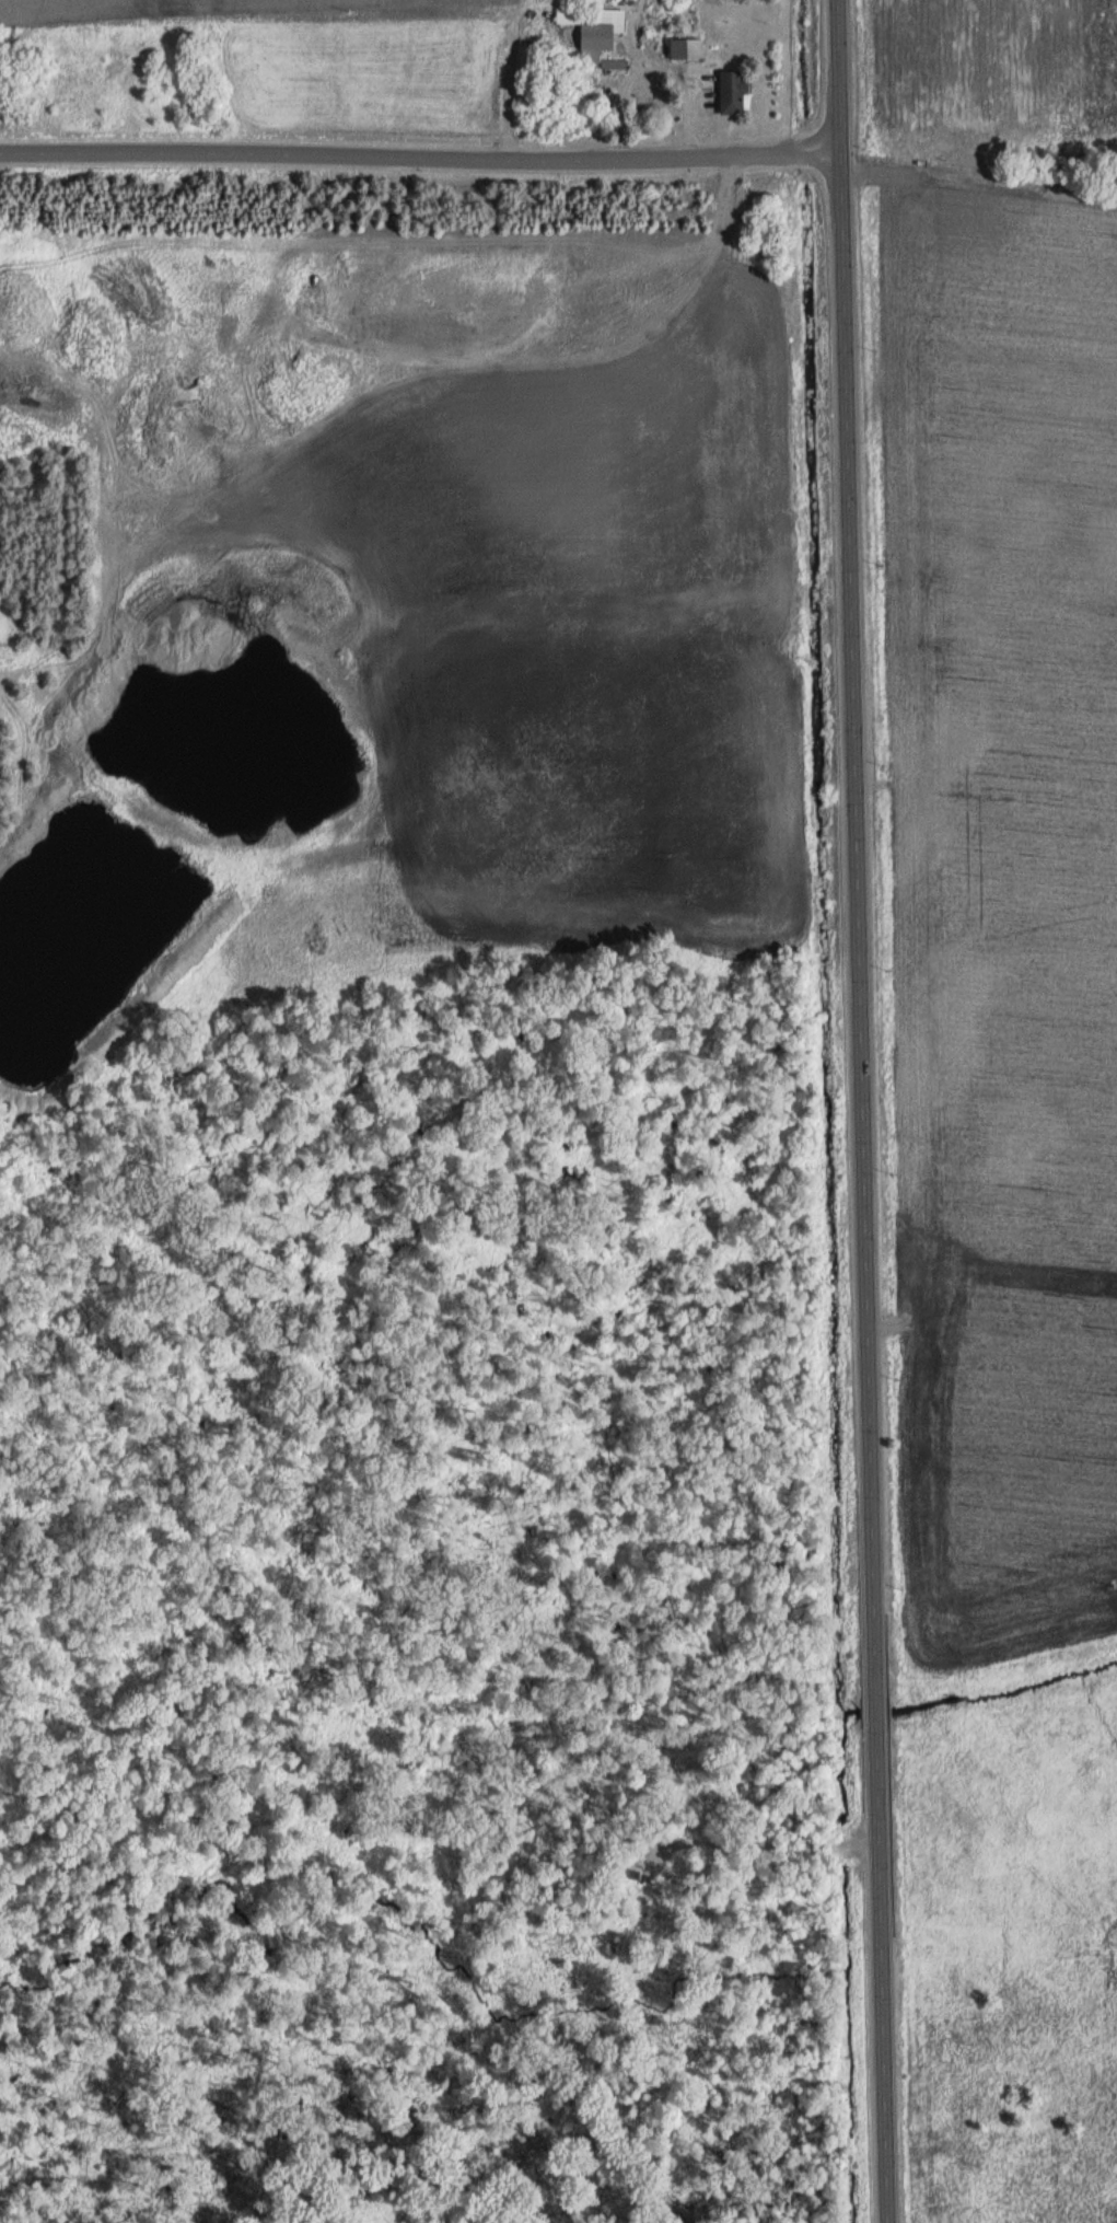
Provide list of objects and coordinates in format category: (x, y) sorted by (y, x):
building: (592, 28)
building: (682, 49)
road: (658, 65)
building: (732, 92)
road: (418, 157)
road: (866, 1111)

